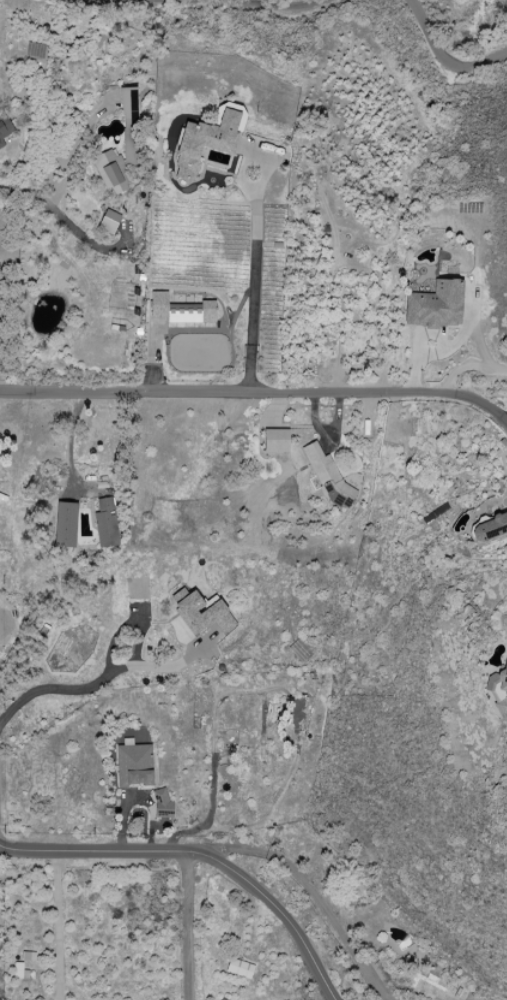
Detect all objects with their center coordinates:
road: (276, 6)
road: (446, 57)
building: (129, 125)
building: (4, 128)
building: (203, 142)
building: (108, 171)
road: (62, 218)
building: (108, 221)
road: (252, 282)
building: (434, 305)
building: (180, 309)
road: (465, 366)
road: (257, 392)
building: (275, 440)
road: (71, 448)
building: (327, 476)
building: (105, 522)
building: (64, 524)
building: (489, 527)
road: (135, 610)
building: (200, 611)
road: (172, 663)
road: (52, 689)
building: (498, 690)
building: (133, 765)
building: (161, 803)
road: (198, 855)
road: (311, 891)
road: (58, 924)
road: (192, 926)
building: (27, 955)
building: (239, 967)

